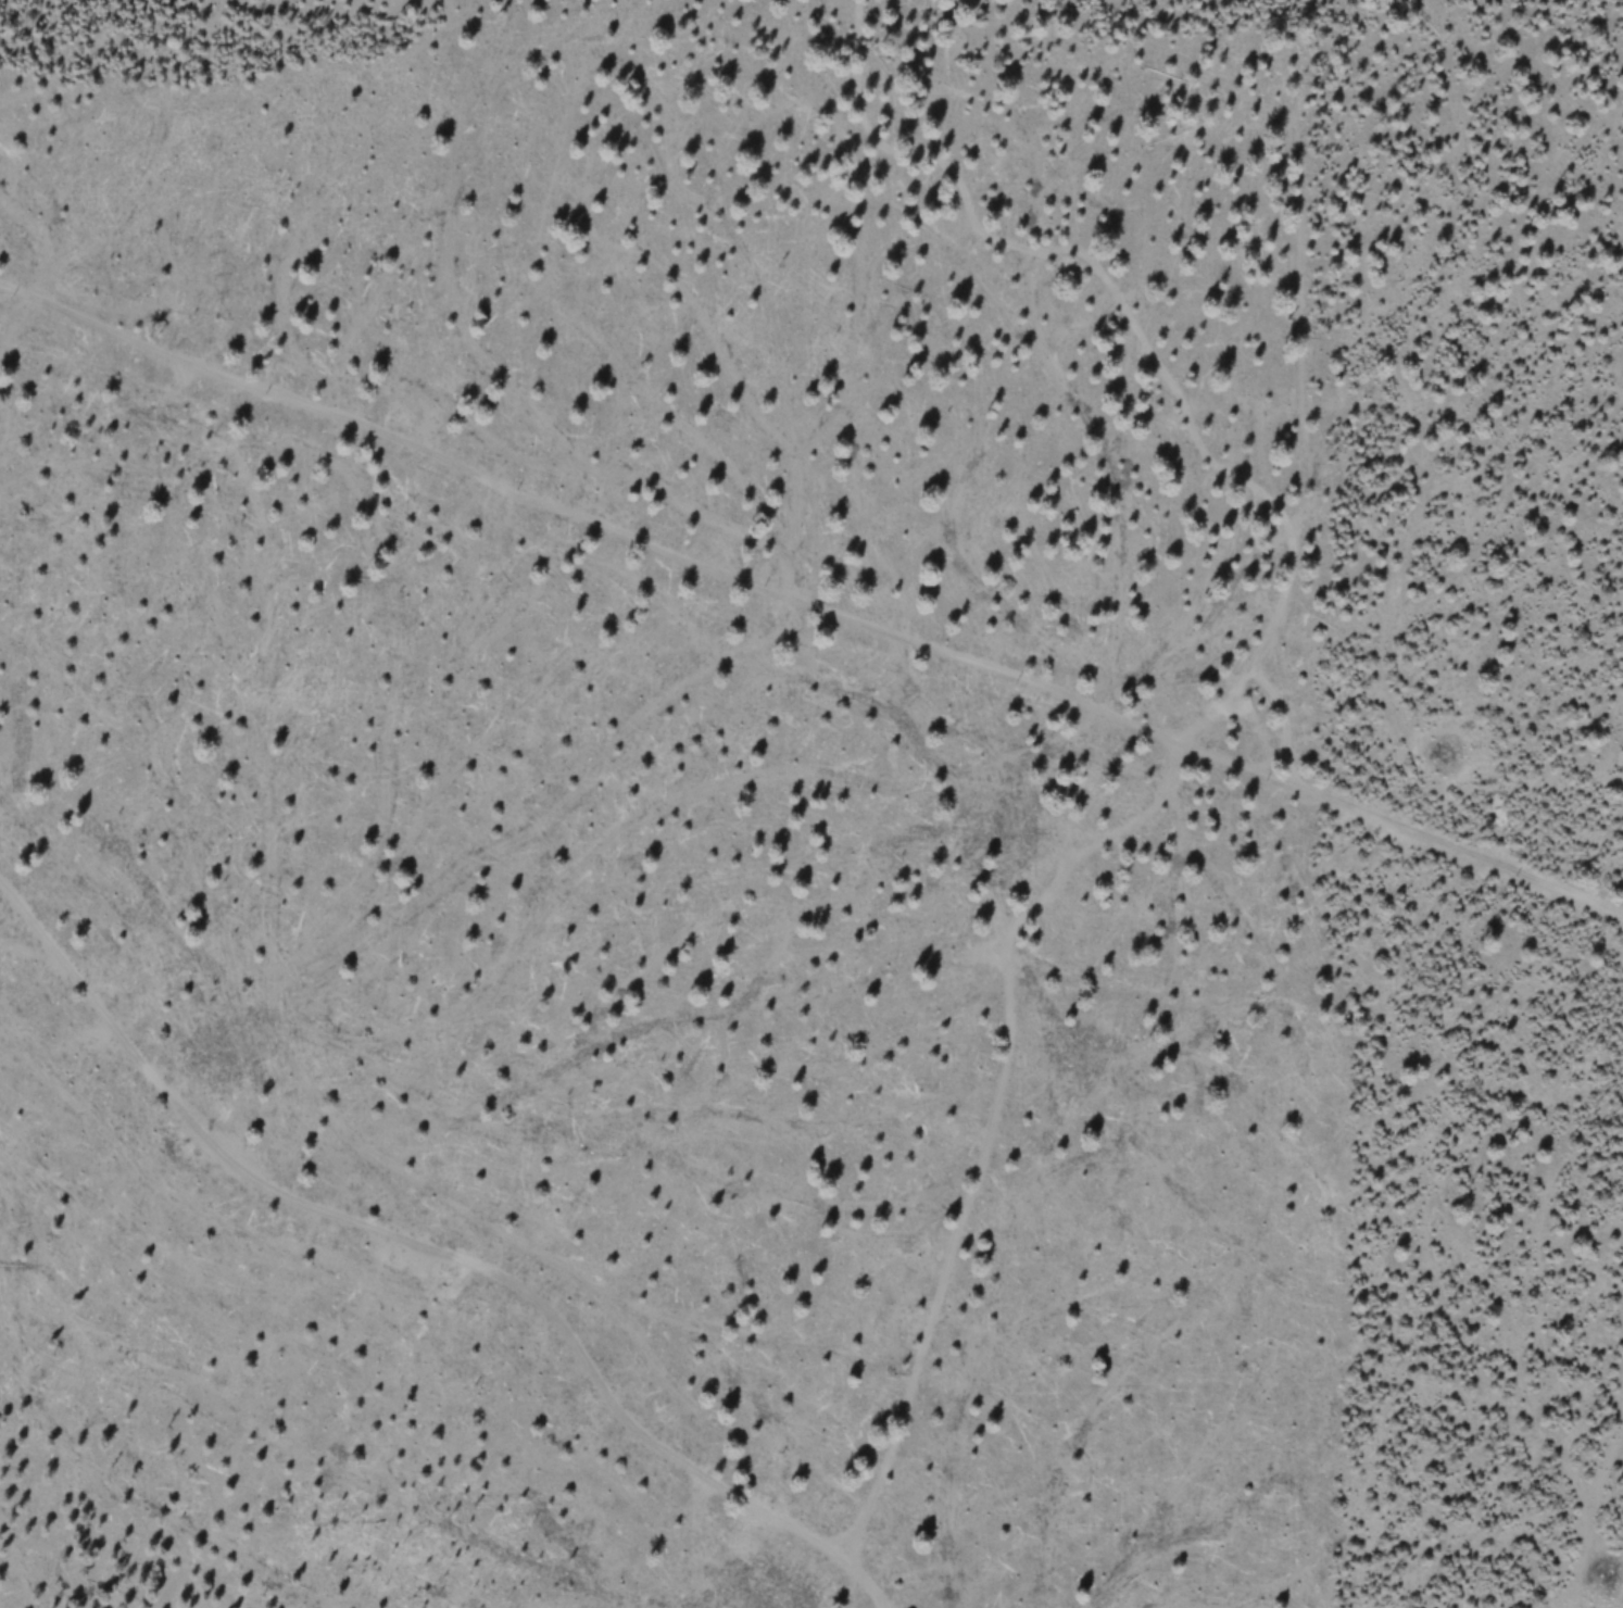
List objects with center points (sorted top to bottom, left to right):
road: (811, 598)
road: (1194, 748)
road: (410, 1245)

